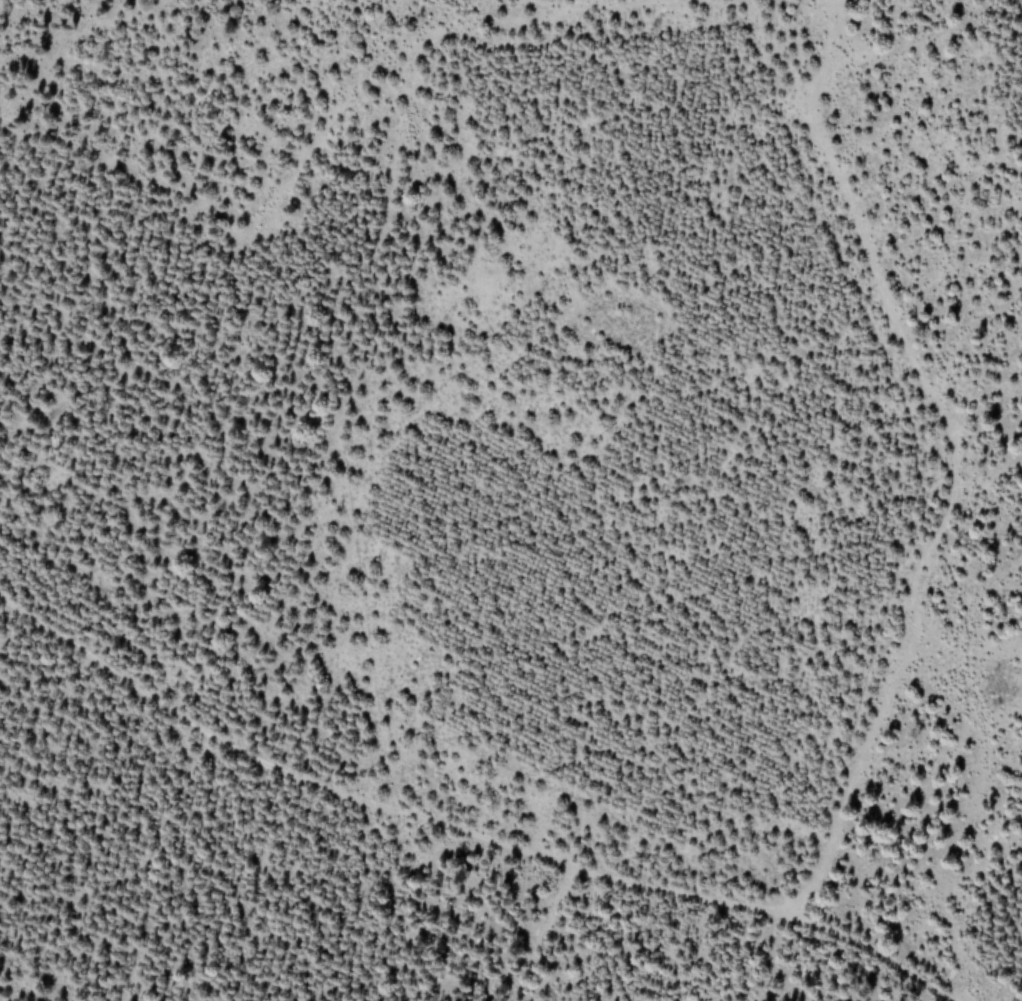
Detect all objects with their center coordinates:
road: (462, 832)

